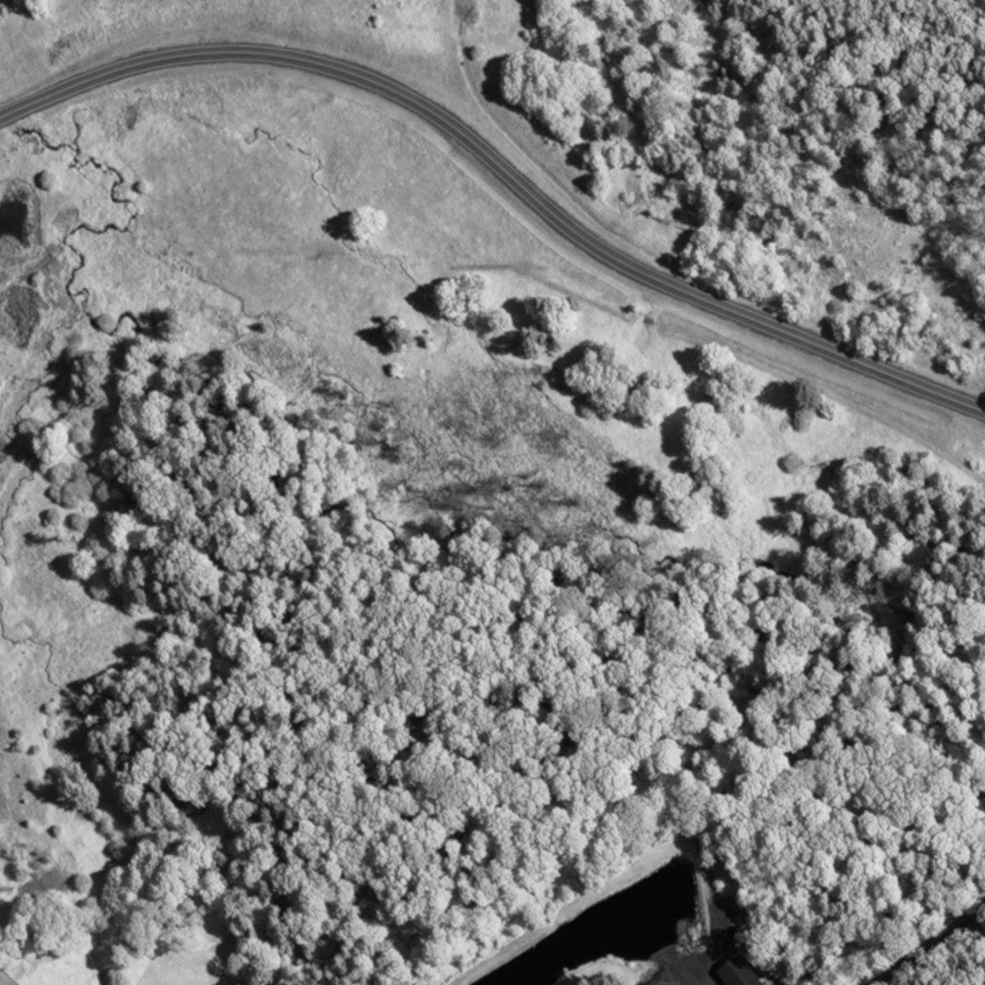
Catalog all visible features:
road: (501, 168)
road: (953, 933)
road: (901, 971)
building: (734, 972)

